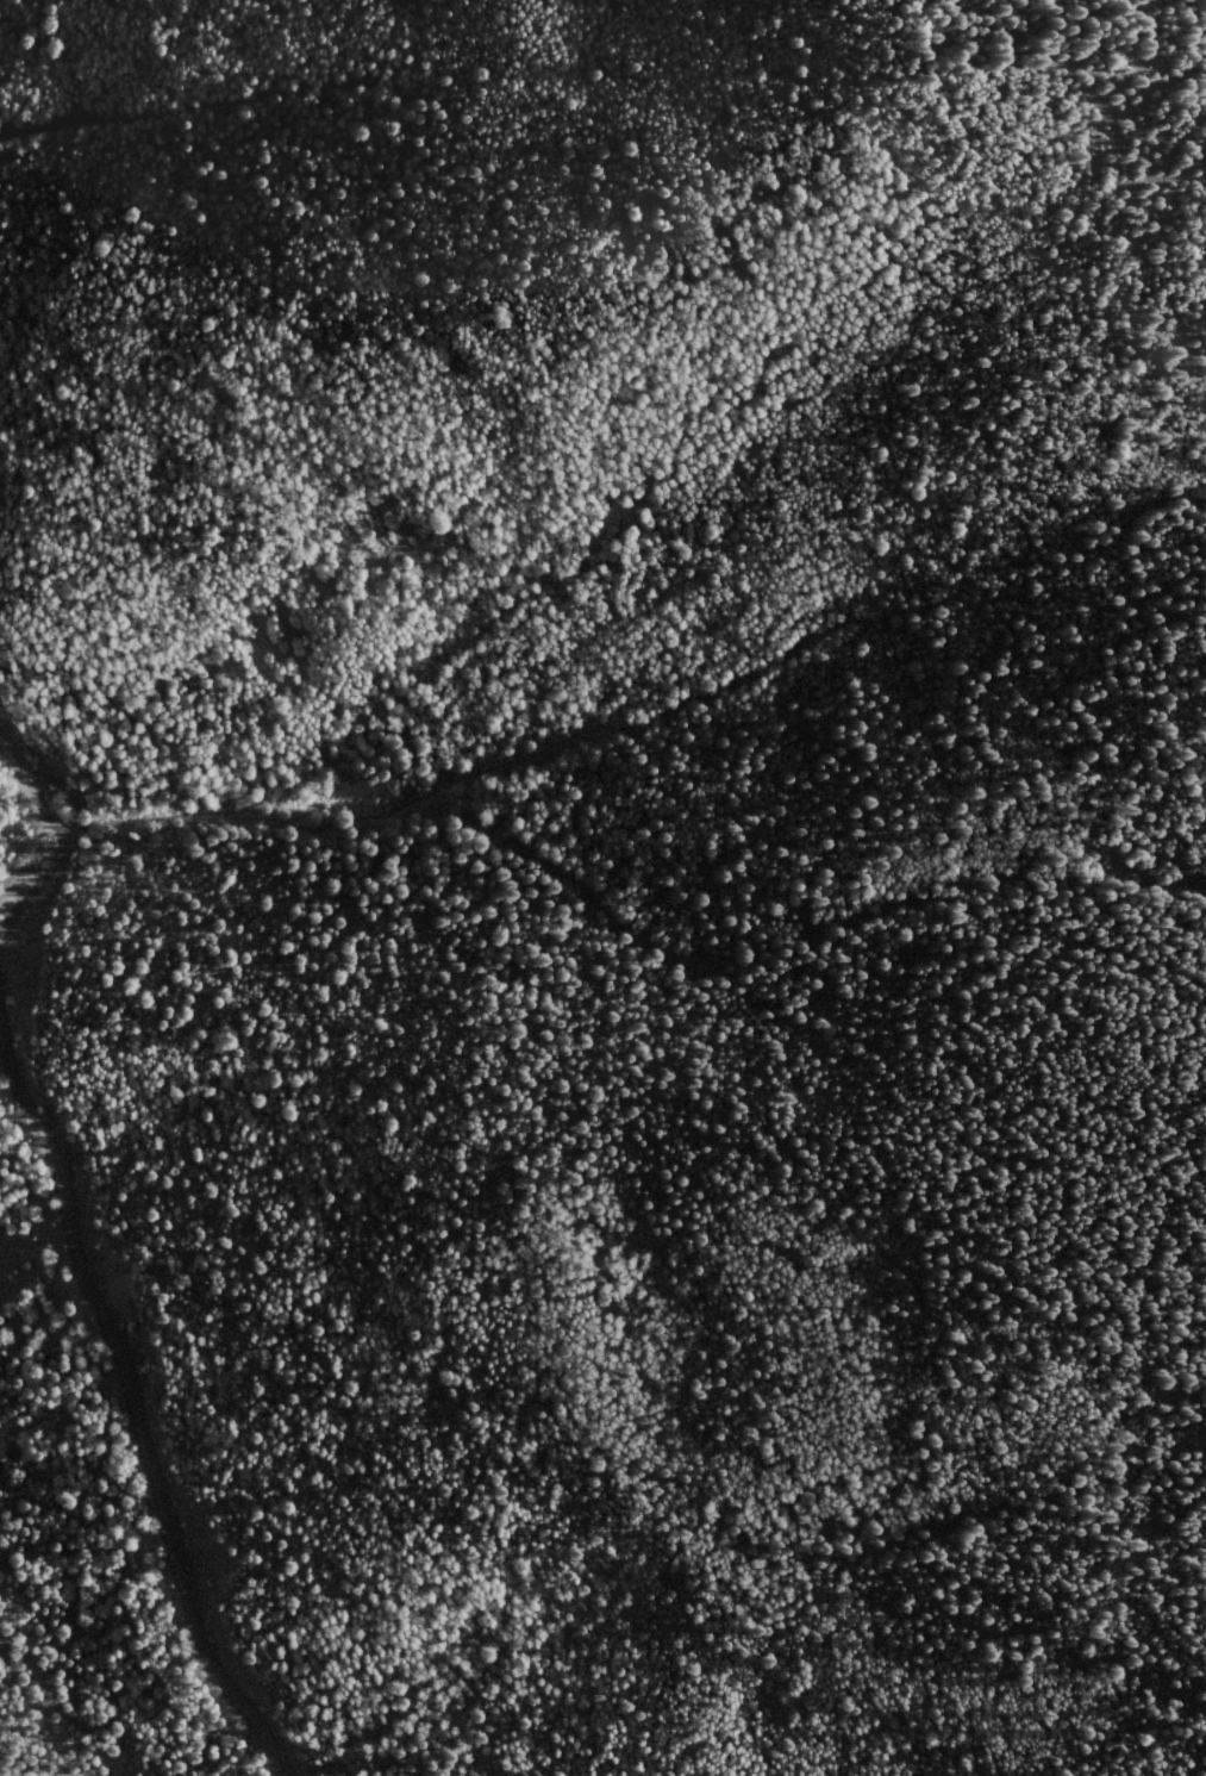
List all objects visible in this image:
road: (1155, 189)
road: (1127, 201)
road: (49, 824)
road: (130, 1406)
building: (0, 1470)
building: (0, 1475)

